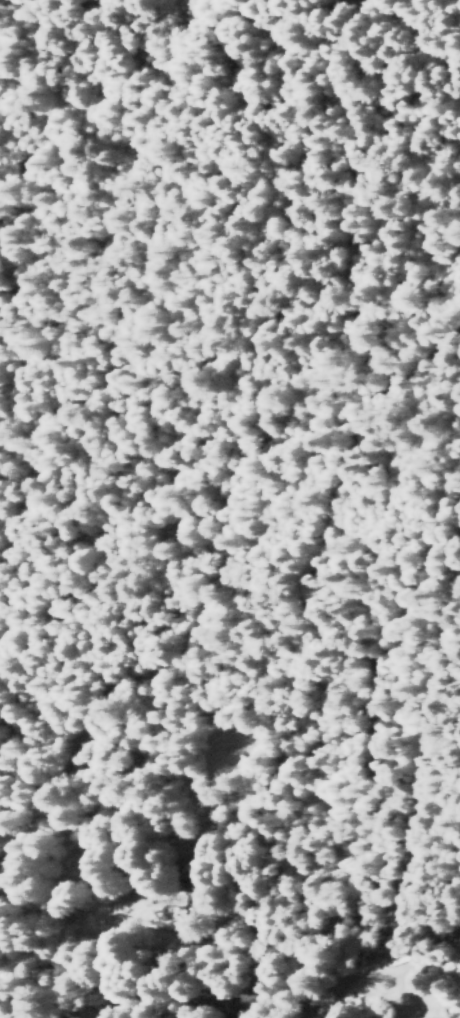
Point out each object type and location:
road: (368, 617)

